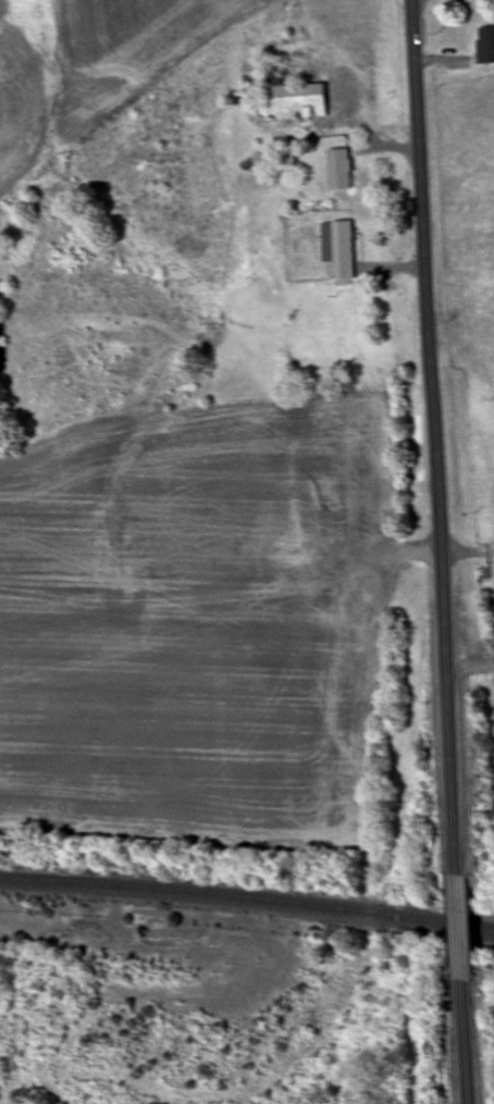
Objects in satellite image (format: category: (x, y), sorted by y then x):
building: (485, 46)
building: (293, 98)
building: (338, 170)
building: (337, 248)
road: (432, 436)
railway: (247, 897)
road: (464, 927)
road: (470, 1042)

